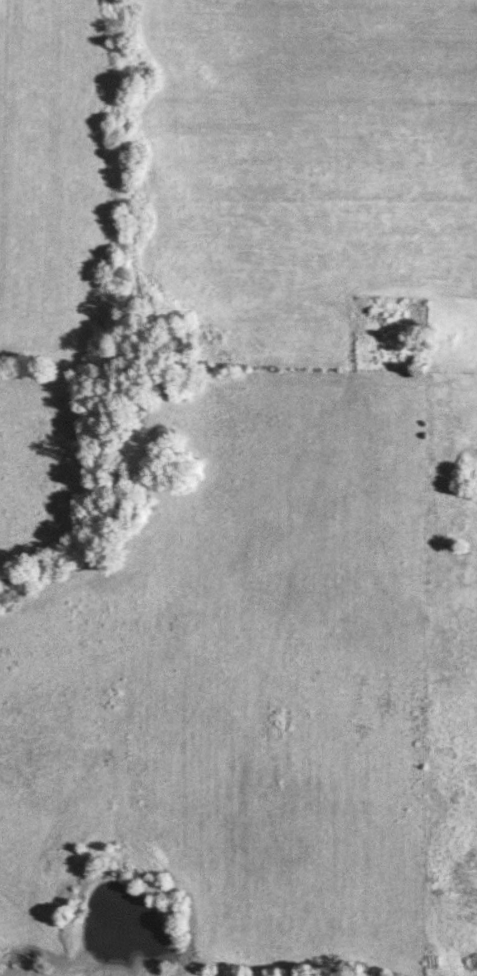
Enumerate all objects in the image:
park: (391, 334)

